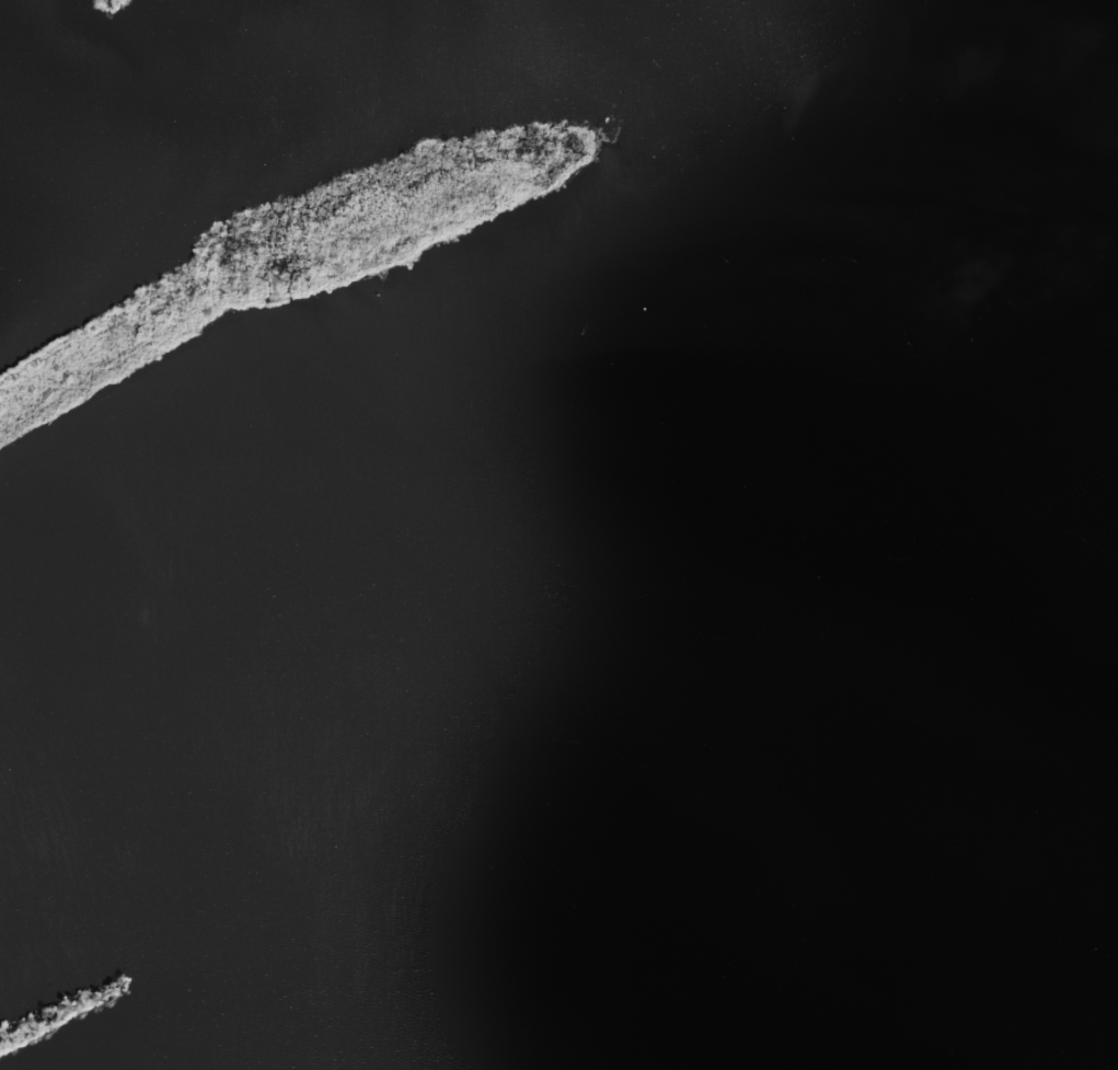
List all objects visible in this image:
river: (560, 863)

